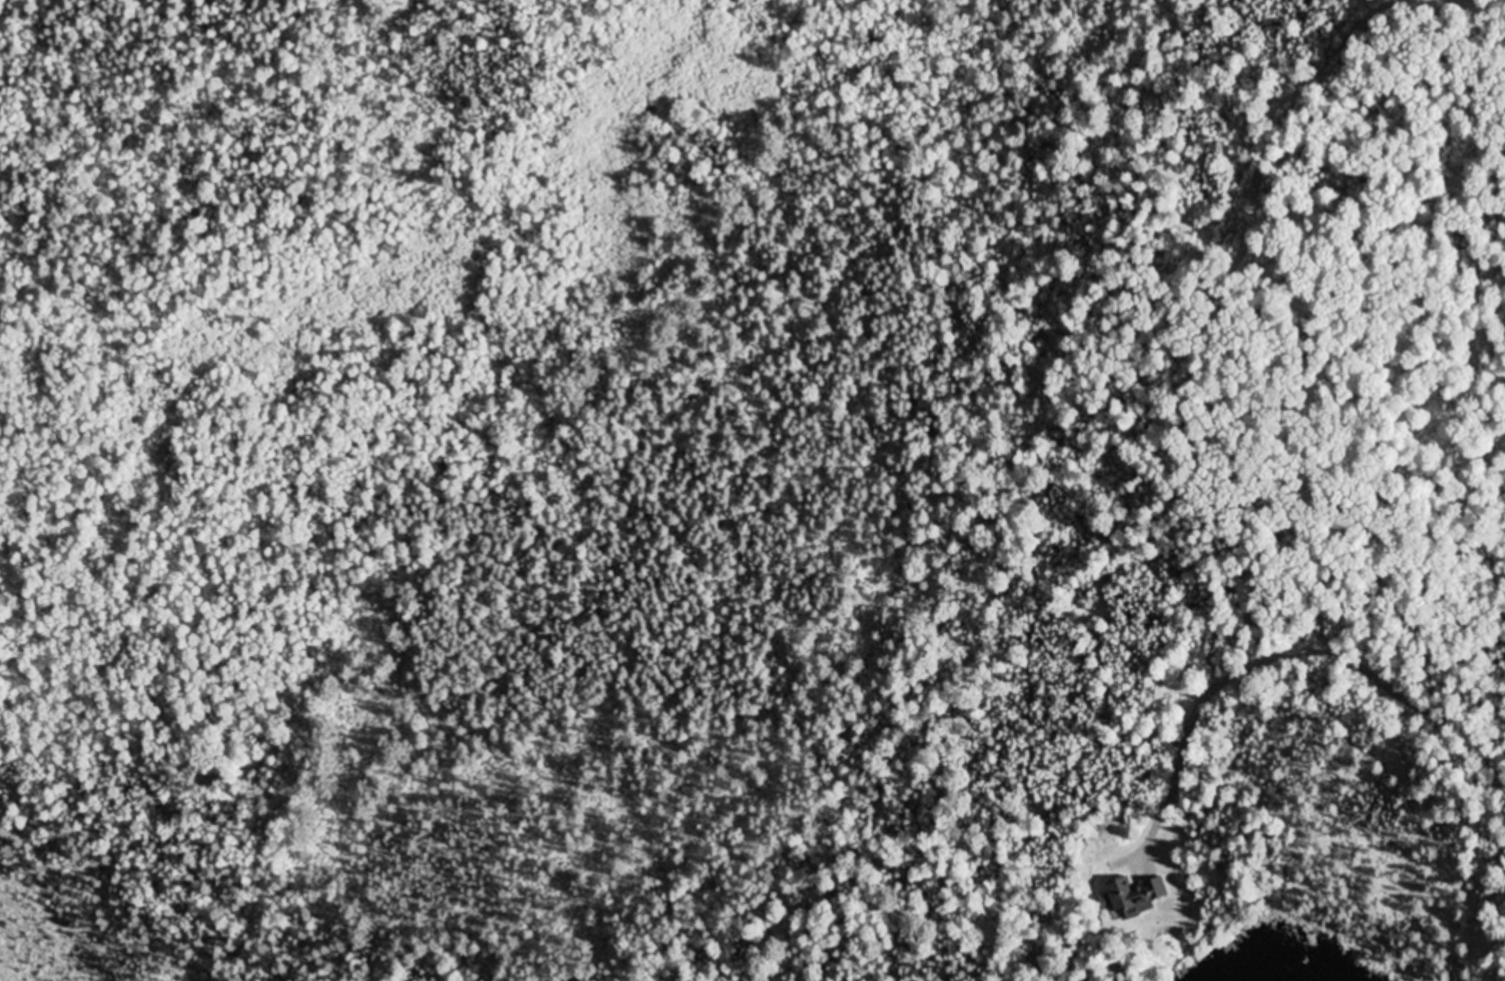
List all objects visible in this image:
road: (1346, 657)
building: (1136, 896)

